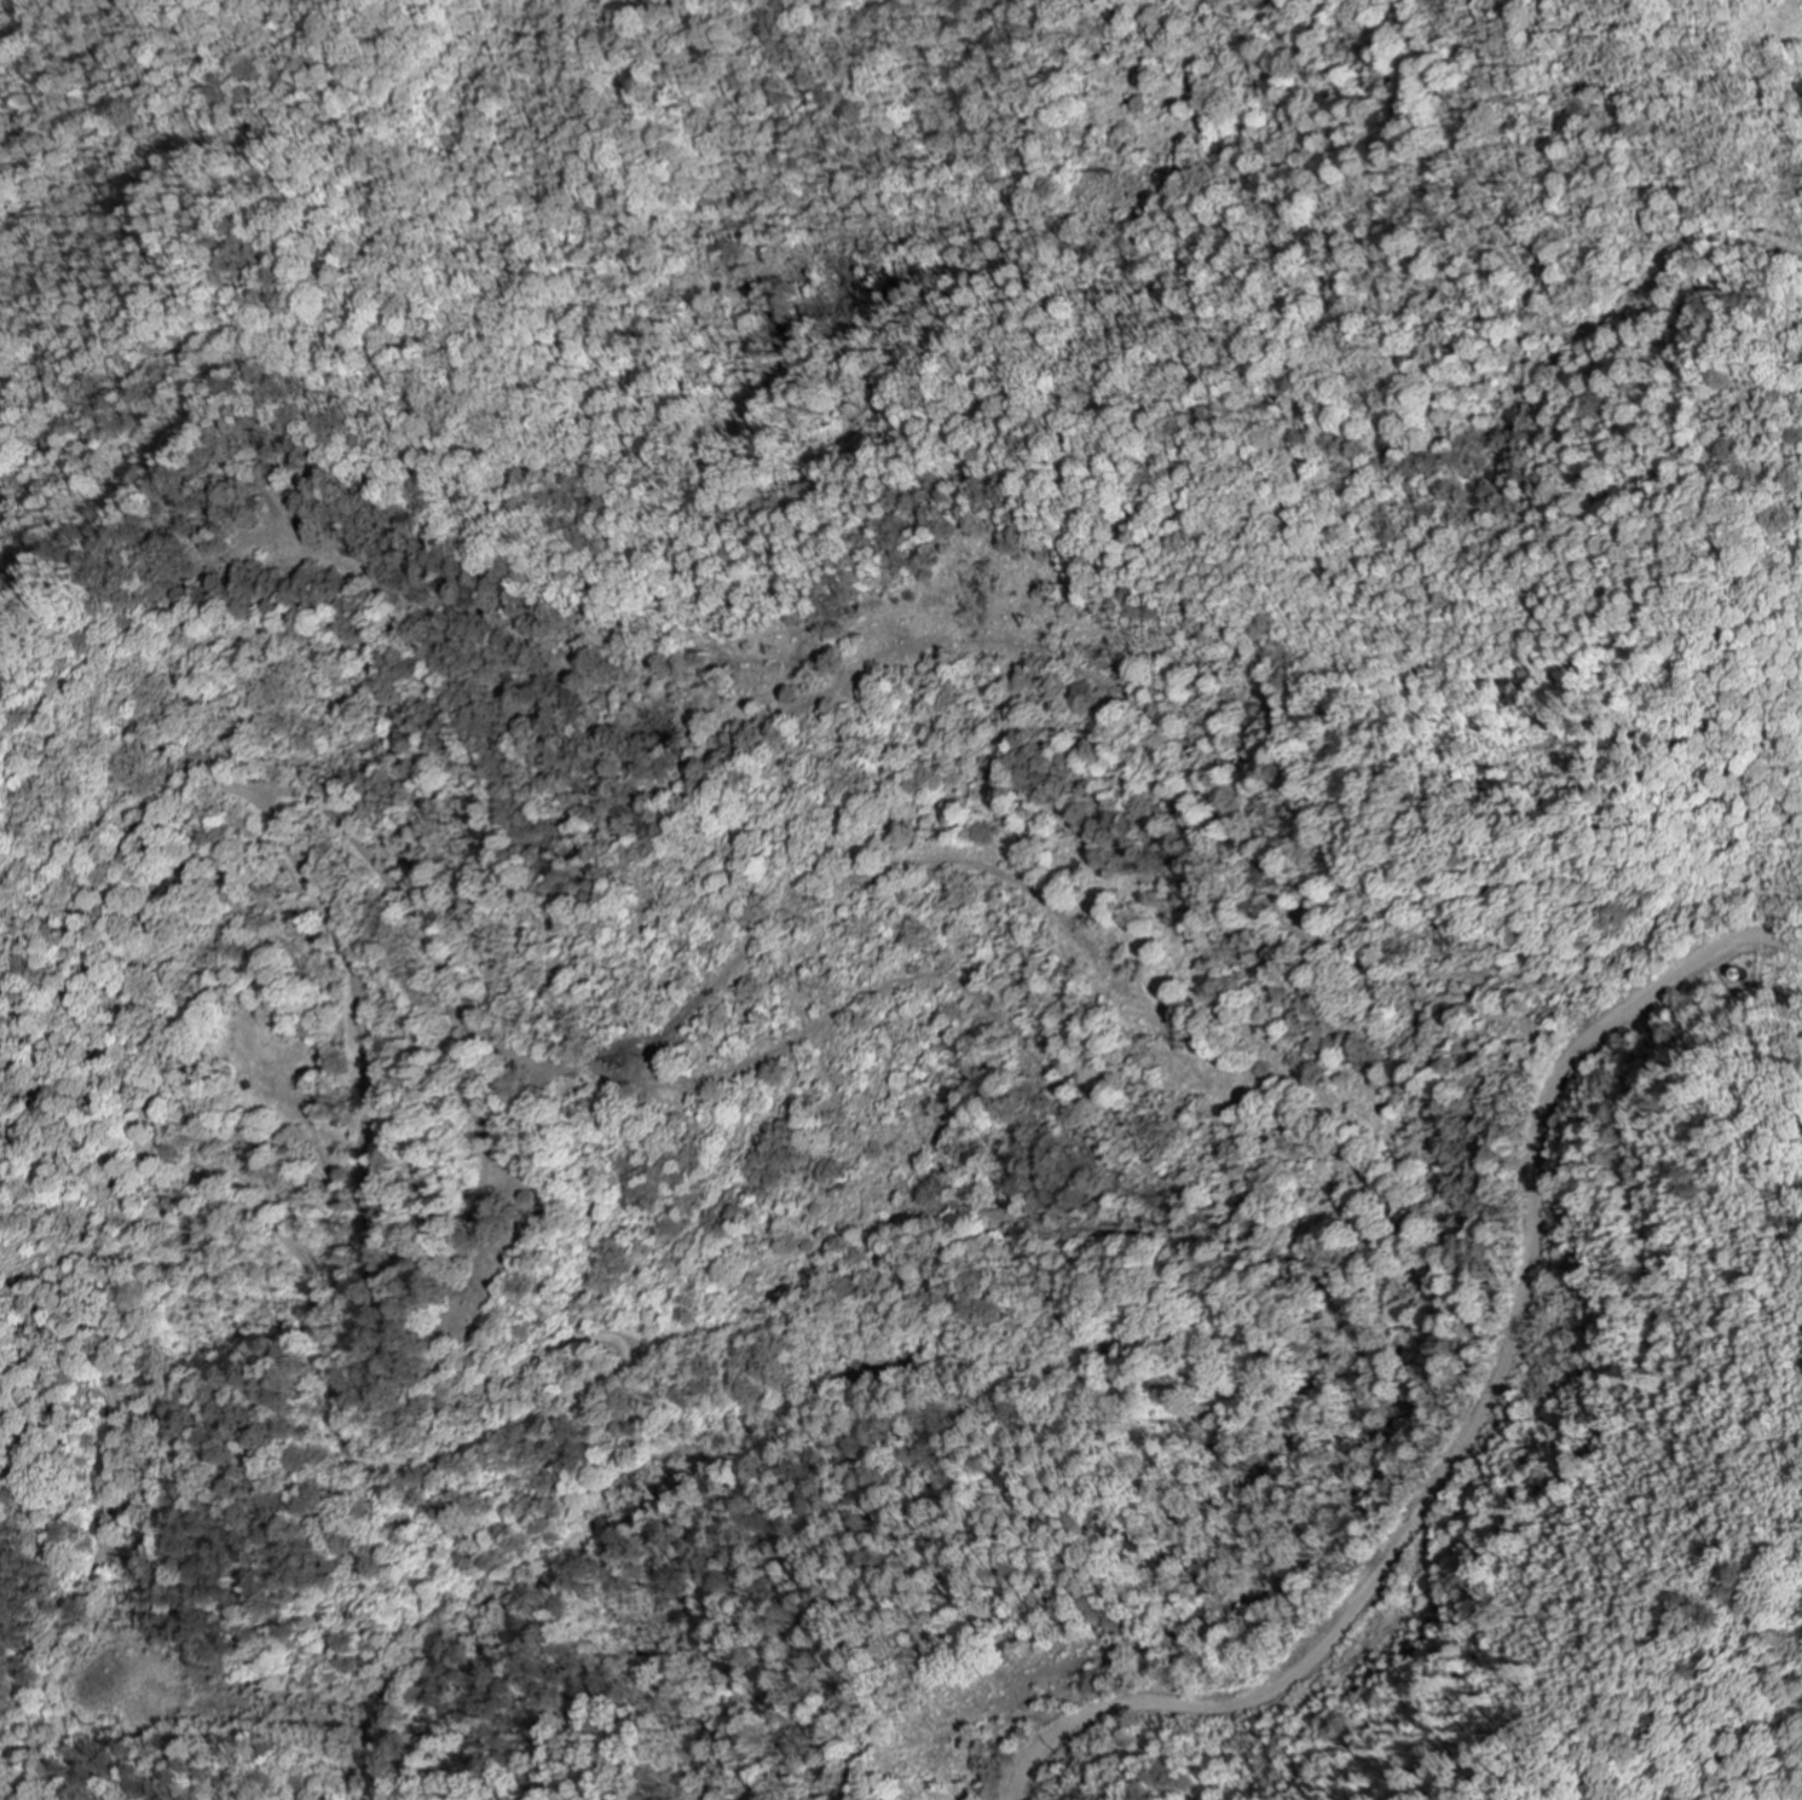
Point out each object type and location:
road: (577, 1342)

